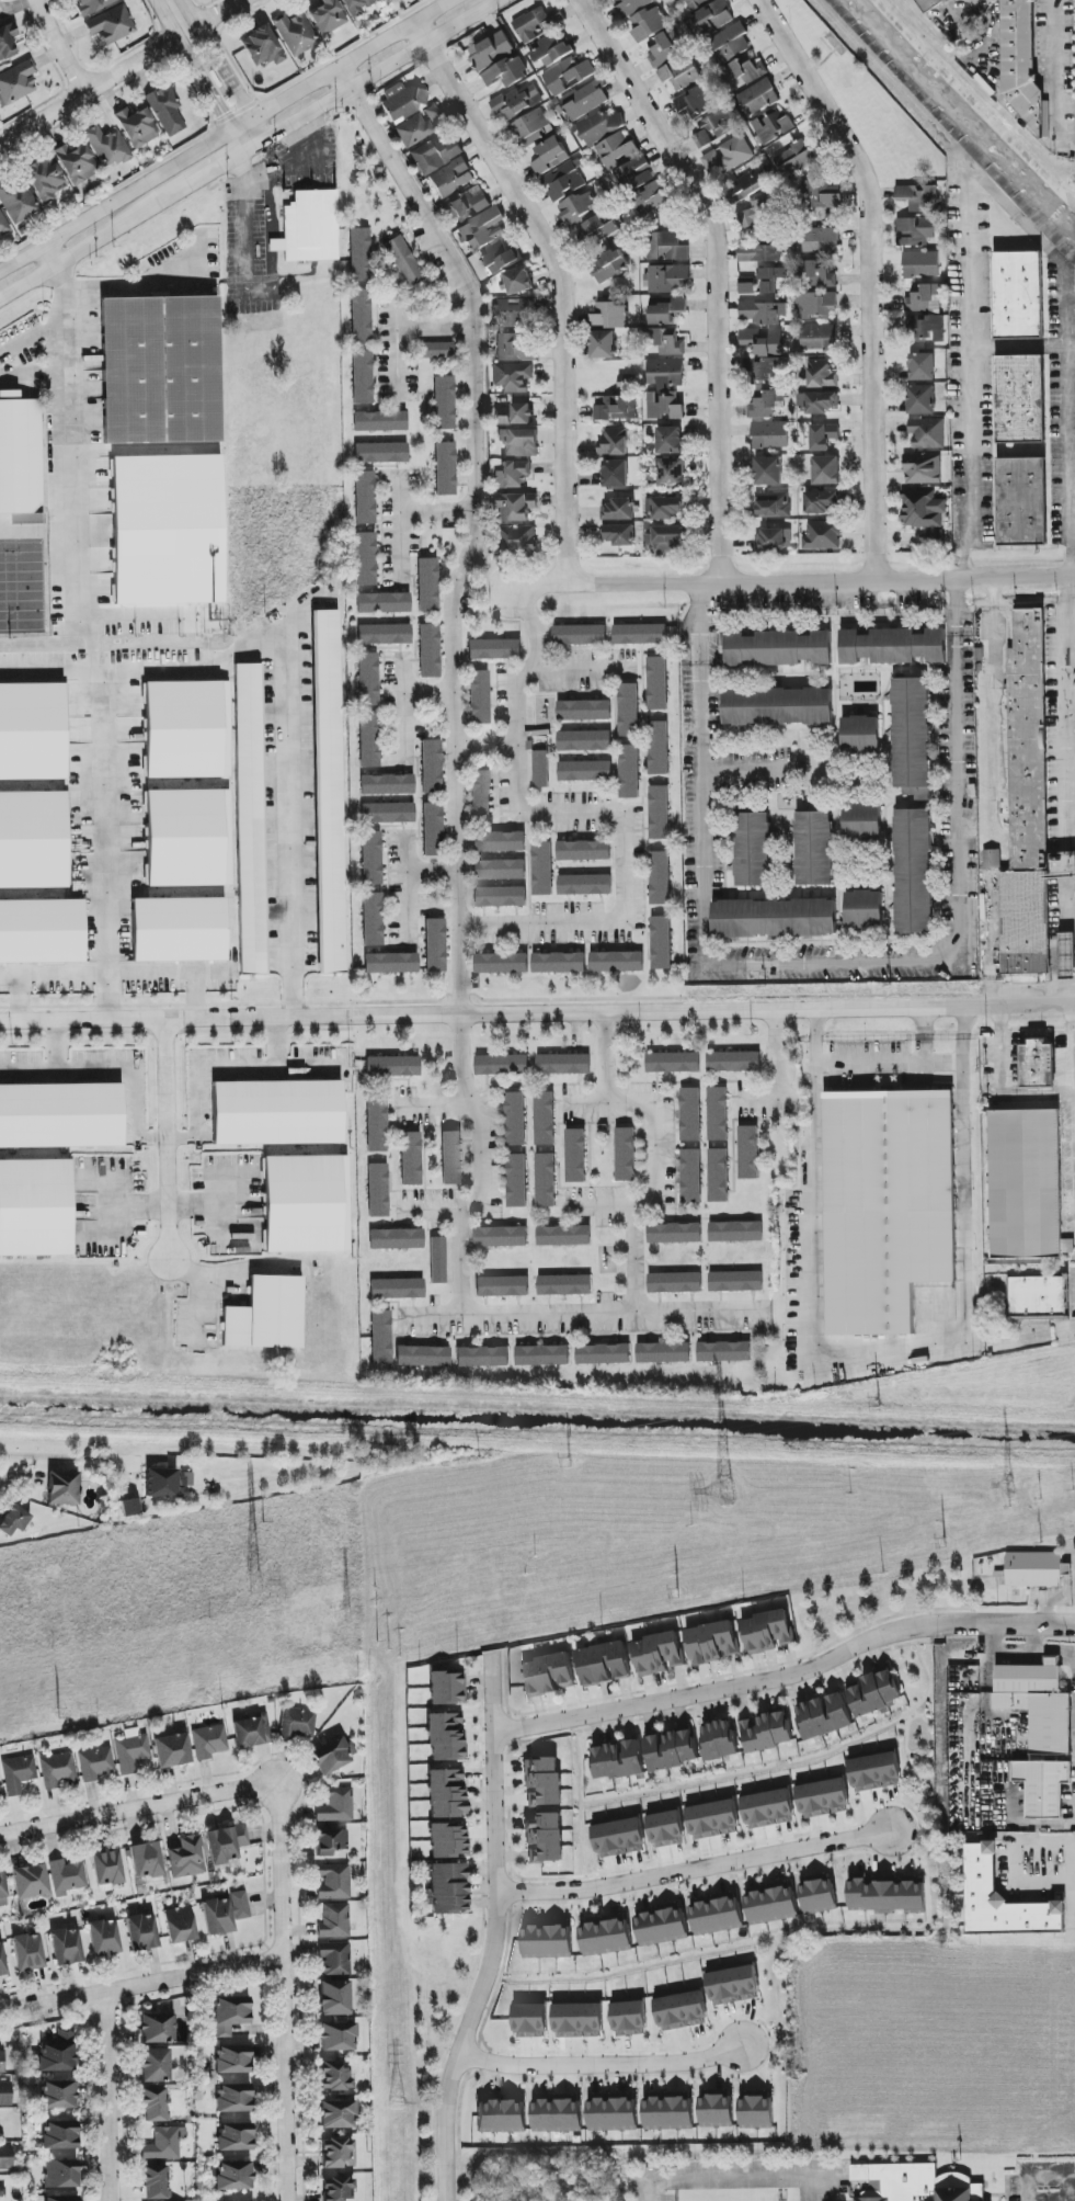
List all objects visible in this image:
building: (0, 0)
building: (386, 2)
building: (695, 2)
building: (928, 4)
building: (92, 5)
building: (356, 5)
building: (631, 5)
road: (217, 12)
building: (327, 16)
road: (163, 18)
building: (713, 18)
building: (648, 24)
building: (111, 25)
building: (295, 34)
building: (542, 35)
building: (7, 41)
building: (731, 43)
road: (57, 46)
building: (261, 47)
building: (663, 48)
building: (491, 50)
building: (1021, 64)
road: (341, 66)
road: (222, 69)
road: (384, 69)
building: (747, 70)
building: (506, 72)
building: (681, 72)
road: (1055, 73)
building: (568, 76)
road: (201, 82)
road: (988, 82)
building: (16, 83)
road: (87, 89)
building: (758, 98)
building: (585, 100)
building: (516, 102)
building: (402, 103)
building: (696, 103)
building: (165, 111)
building: (420, 125)
building: (602, 126)
building: (136, 127)
building: (528, 127)
building: (714, 127)
building: (771, 127)
road: (233, 140)
road: (253, 145)
building: (106, 147)
building: (617, 150)
building: (436, 155)
building: (548, 156)
building: (729, 156)
building: (794, 159)
building: (76, 163)
road: (279, 170)
road: (208, 172)
building: (634, 174)
building: (451, 178)
building: (45, 179)
building: (564, 180)
road: (259, 181)
building: (820, 196)
building: (653, 197)
building: (919, 197)
building: (18, 200)
road: (114, 203)
road: (1000, 204)
building: (466, 205)
building: (577, 208)
building: (755, 213)
road: (245, 217)
building: (3, 225)
building: (310, 227)
building: (482, 230)
building: (598, 230)
building: (915, 231)
building: (821, 240)
road: (274, 246)
road: (89, 247)
building: (666, 247)
building: (759, 253)
building: (359, 254)
road: (52, 258)
building: (500, 258)
building: (403, 261)
building: (922, 264)
building: (610, 265)
road: (714, 273)
road: (871, 274)
building: (822, 276)
building: (667, 279)
building: (769, 280)
building: (519, 281)
road: (138, 285)
road: (561, 285)
building: (747, 288)
road: (275, 292)
building: (1018, 294)
building: (924, 298)
building: (666, 310)
building: (514, 313)
building: (763, 313)
building: (361, 316)
building: (610, 317)
building: (926, 327)
road: (433, 331)
road: (33, 337)
building: (819, 337)
building: (666, 341)
building: (764, 341)
building: (603, 344)
building: (513, 349)
road: (1025, 349)
road: (394, 350)
building: (436, 351)
building: (923, 367)
building: (764, 371)
building: (161, 373)
building: (665, 373)
building: (822, 374)
road: (22, 376)
building: (512, 377)
building: (362, 378)
building: (627, 382)
building: (1020, 399)
building: (922, 400)
building: (817, 402)
building: (443, 404)
building: (767, 406)
building: (664, 407)
building: (615, 408)
building: (513, 415)
building: (379, 421)
building: (928, 433)
building: (770, 435)
building: (823, 436)
building: (670, 440)
road: (71, 441)
building: (615, 442)
building: (519, 443)
building: (380, 453)
building: (21, 456)
building: (923, 468)
building: (444, 469)
building: (826, 470)
building: (768, 472)
building: (672, 473)
building: (616, 474)
building: (511, 475)
building: (364, 498)
building: (1021, 501)
building: (822, 502)
building: (774, 506)
building: (515, 507)
building: (668, 509)
building: (923, 510)
building: (618, 511)
road: (435, 513)
road: (396, 526)
road: (474, 526)
building: (168, 530)
building: (619, 534)
building: (935, 534)
building: (823, 535)
building: (516, 538)
building: (670, 538)
building: (776, 540)
building: (365, 559)
road: (792, 581)
building: (427, 586)
park: (21, 587)
building: (384, 603)
road: (537, 625)
road: (1071, 633)
building: (640, 634)
building: (384, 635)
building: (580, 635)
building: (910, 646)
building: (854, 647)
building: (779, 648)
building: (494, 649)
building: (428, 651)
building: (368, 680)
building: (657, 683)
road: (426, 696)
building: (479, 697)
road: (1071, 699)
building: (778, 706)
building: (628, 710)
building: (584, 711)
road: (1066, 711)
road: (400, 713)
building: (187, 729)
building: (32, 731)
building: (860, 735)
building: (912, 737)
building: (369, 740)
building: (584, 740)
building: (1028, 741)
road: (483, 746)
building: (659, 748)
building: (431, 768)
building: (540, 769)
building: (585, 771)
building: (629, 771)
road: (745, 771)
building: (387, 785)
building: (329, 792)
building: (480, 796)
road: (575, 812)
building: (387, 813)
building: (660, 813)
road: (101, 816)
road: (289, 816)
building: (250, 819)
building: (861, 820)
building: (432, 830)
building: (188, 838)
building: (33, 840)
building: (499, 842)
building: (813, 849)
building: (752, 850)
building: (584, 851)
building: (371, 858)
building: (992, 859)
road: (430, 869)
building: (542, 869)
building: (499, 870)
building: (913, 871)
building: (660, 878)
building: (585, 885)
road: (403, 888)
road: (1068, 888)
building: (500, 897)
building: (864, 909)
building: (774, 918)
building: (373, 919)
building: (1025, 923)
building: (179, 930)
building: (42, 931)
road: (1066, 937)
road: (1074, 937)
building: (661, 943)
building: (434, 945)
road: (1066, 945)
building: (1067, 956)
building: (617, 962)
road: (835, 962)
road: (1066, 962)
building: (390, 963)
building: (502, 963)
building: (559, 963)
road: (1059, 965)
road: (108, 972)
road: (1071, 991)
road: (537, 1013)
road: (1073, 1024)
road: (924, 1034)
road: (277, 1042)
road: (777, 1055)
building: (734, 1062)
road: (890, 1062)
building: (673, 1063)
building: (563, 1064)
building: (502, 1065)
building: (1038, 1065)
road: (121, 1067)
road: (224, 1067)
building: (392, 1067)
road: (1000, 1088)
road: (769, 1101)
road: (585, 1103)
road: (432, 1110)
building: (277, 1113)
building: (690, 1114)
building: (718, 1114)
building: (60, 1115)
building: (545, 1119)
building: (516, 1120)
building: (377, 1125)
road: (168, 1139)
road: (654, 1146)
building: (748, 1153)
building: (626, 1155)
building: (575, 1156)
building: (450, 1158)
building: (410, 1159)
road: (480, 1168)
building: (691, 1176)
building: (718, 1176)
building: (546, 1180)
building: (517, 1181)
building: (1025, 1183)
building: (378, 1190)
road: (198, 1204)
building: (307, 1204)
road: (135, 1205)
building: (888, 1206)
building: (35, 1207)
road: (599, 1209)
road: (428, 1211)
building: (736, 1232)
building: (675, 1233)
building: (563, 1236)
building: (501, 1237)
building: (396, 1239)
building: (437, 1260)
building: (736, 1281)
building: (675, 1283)
building: (564, 1285)
building: (502, 1286)
building: (396, 1289)
building: (1038, 1297)
road: (582, 1314)
building: (266, 1315)
building: (380, 1338)
building: (724, 1352)
building: (664, 1353)
building: (603, 1354)
road: (887, 1354)
building: (542, 1355)
building: (422, 1357)
building: (482, 1357)
power tower: (878, 1402)
power tower: (569, 1461)
road: (62, 1464)
building: (64, 1488)
power tower: (1011, 1488)
power tower: (722, 1491)
building: (129, 1508)
building: (13, 1521)
power tower: (261, 1524)
building: (1034, 1569)
power tower: (255, 1580)
power tower: (677, 1596)
power tower: (345, 1618)
building: (768, 1632)
building: (712, 1643)
power tower: (388, 1649)
road: (1055, 1649)
building: (659, 1654)
road: (1011, 1659)
building: (604, 1664)
building: (549, 1675)
road: (787, 1675)
building: (446, 1689)
building: (874, 1693)
building: (1038, 1704)
power tower: (58, 1713)
building: (824, 1716)
building: (297, 1724)
building: (766, 1731)
building: (251, 1732)
building: (445, 1738)
building: (719, 1739)
building: (209, 1741)
building: (672, 1749)
building: (130, 1750)
building: (172, 1750)
building: (333, 1756)
building: (618, 1760)
building: (94, 1763)
building: (58, 1771)
building: (874, 1772)
building: (18, 1773)
building: (542, 1782)
building: (1042, 1785)
building: (446, 1794)
building: (0, 1795)
building: (823, 1797)
building: (335, 1806)
building: (768, 1808)
road: (134, 1811)
building: (713, 1819)
building: (666, 1829)
building: (544, 1837)
building: (619, 1838)
building: (330, 1841)
building: (448, 1841)
building: (226, 1843)
road: (1015, 1845)
building: (186, 1858)
building: (147, 1861)
road: (694, 1867)
building: (107, 1870)
building: (67, 1876)
building: (30, 1882)
building: (333, 1882)
road: (1073, 1884)
building: (447, 1888)
building: (2, 1890)
building: (887, 1894)
building: (819, 1895)
building: (1003, 1901)
building: (771, 1904)
building: (225, 1913)
building: (717, 1914)
building: (333, 1921)
building: (180, 1925)
building: (662, 1928)
building: (142, 1932)
road: (494, 1932)
building: (104, 1938)
building: (606, 1938)
building: (547, 1939)
building: (66, 1947)
building: (27, 1952)
building: (334, 1959)
building: (2, 1961)
building: (733, 1985)
road: (140, 1989)
road: (282, 1995)
building: (334, 1998)
building: (681, 2010)
building: (230, 2015)
building: (629, 2017)
building: (579, 2018)
building: (530, 2019)
building: (157, 2029)
building: (65, 2035)
building: (338, 2037)
building: (57, 2057)
building: (232, 2060)
building: (1, 2063)
road: (599, 2064)
building: (156, 2066)
building: (334, 2077)
building: (5, 2094)
building: (58, 2095)
building: (232, 2098)
road: (106, 2099)
building: (155, 2104)
power tower: (394, 2107)
building: (717, 2110)
building: (756, 2110)
building: (613, 2112)
building: (668, 2112)
building: (557, 2113)
building: (336, 2114)
building: (501, 2114)
building: (59, 2135)
building: (235, 2137)
building: (164, 2144)
building: (334, 2153)
building: (5, 2158)
building: (60, 2174)
building: (233, 2176)
road: (1048, 2177)
road: (731, 2178)
building: (155, 2182)
building: (914, 2183)
building: (336, 2189)
building: (61, 2198)
building: (38, 2199)
building: (250, 2200)

